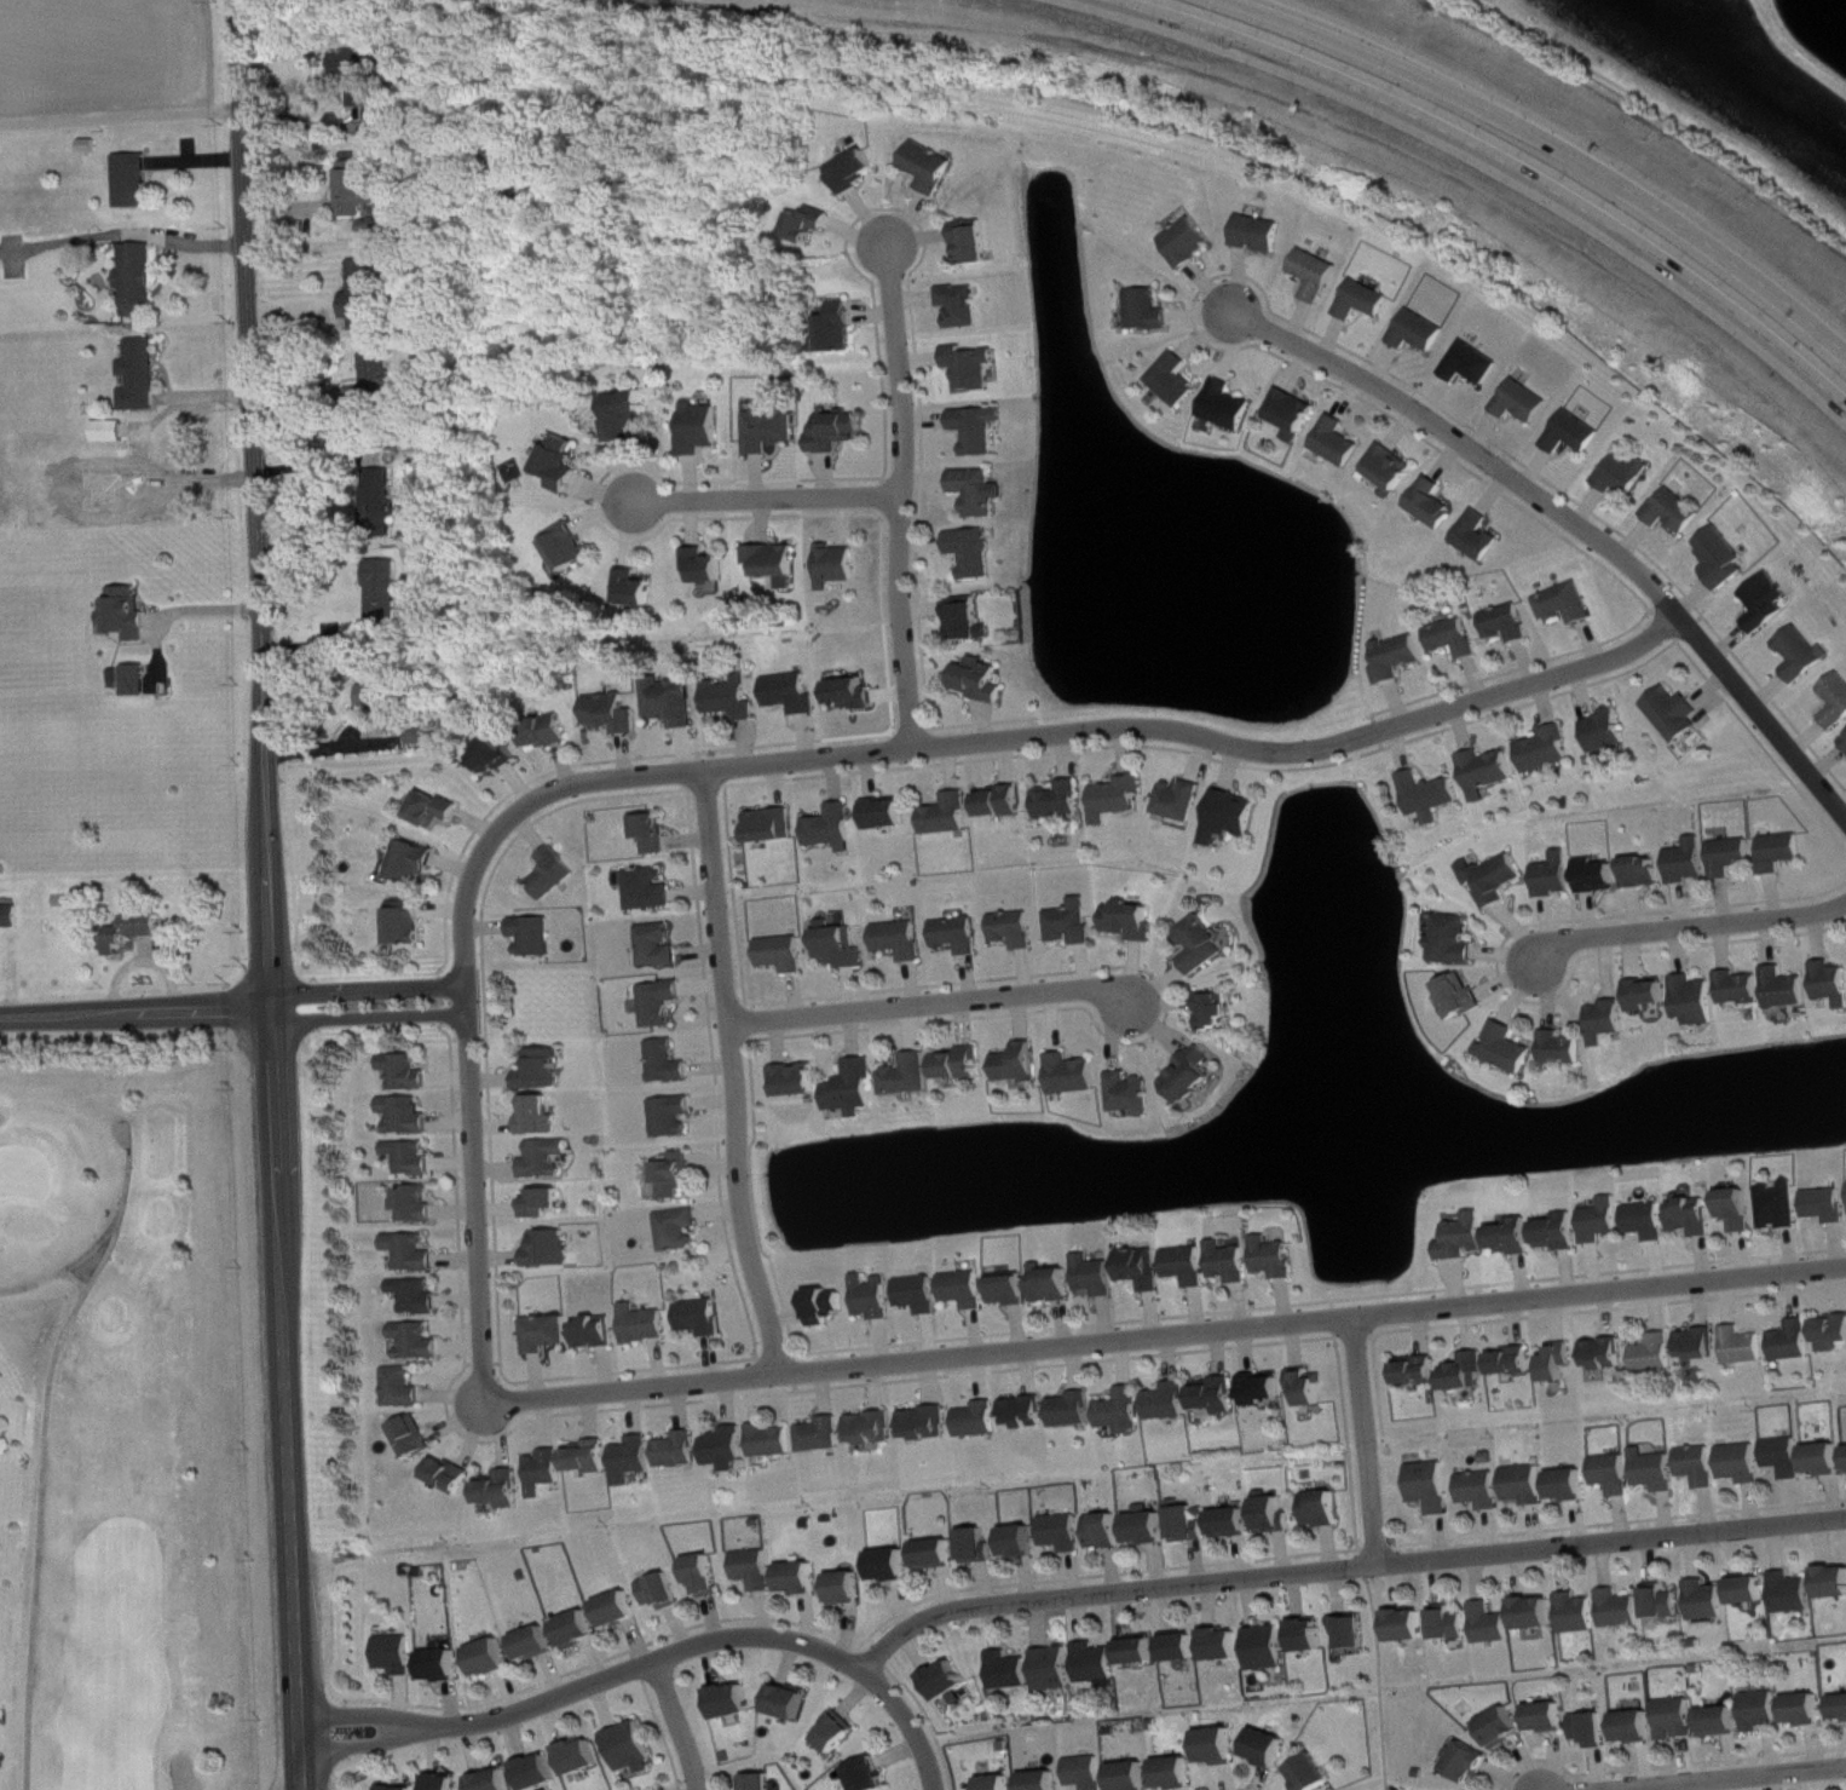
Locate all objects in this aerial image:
crop: (102, 53)
building: (359, 74)
road: (1665, 111)
road: (120, 114)
road: (1562, 146)
road: (1501, 156)
road: (194, 159)
building: (930, 167)
building: (855, 171)
building: (127, 175)
building: (358, 189)
building: (810, 224)
road: (122, 232)
building: (1261, 234)
building: (973, 242)
building: (1190, 242)
road: (154, 261)
building: (1317, 275)
building: (133, 276)
building: (368, 295)
building: (1366, 300)
building: (963, 306)
building: (1149, 311)
building: (840, 328)
building: (1421, 333)
building: (1475, 364)
building: (973, 368)
building: (137, 370)
road: (166, 372)
building: (375, 379)
building: (1176, 379)
road: (201, 393)
building: (1525, 402)
building: (1229, 407)
building: (1296, 414)
building: (628, 415)
building: (123, 427)
building: (703, 428)
building: (772, 430)
building: (980, 430)
building: (837, 432)
building: (1576, 433)
building: (1340, 442)
building: (140, 444)
building: (123, 445)
building: (563, 464)
building: (1392, 470)
building: (1627, 474)
building: (981, 493)
road: (899, 494)
road: (768, 500)
building: (382, 501)
building: (1435, 503)
building: (1677, 511)
road: (1580, 522)
building: (1481, 536)
building: (570, 547)
building: (975, 552)
building: (1725, 558)
building: (777, 563)
building: (838, 565)
building: (708, 566)
building: (636, 588)
building: (385, 594)
building: (1769, 602)
building: (1569, 604)
road: (200, 606)
building: (121, 609)
building: (969, 620)
building: (1511, 623)
building: (1456, 638)
road: (156, 650)
building: (1806, 654)
building: (1400, 658)
building: (110, 674)
building: (131, 675)
building: (982, 680)
building: (795, 693)
building: (854, 693)
building: (383, 697)
building: (733, 698)
building: (673, 702)
building: (1838, 702)
building: (615, 713)
building: (1677, 714)
building: (1609, 731)
building: (548, 732)
building: (422, 733)
building: (1551, 750)
building: (495, 755)
road: (808, 761)
building: (1489, 772)
building: (1431, 796)
building: (1118, 799)
building: (1062, 800)
building: (1181, 800)
building: (1004, 802)
building: (438, 810)
building: (889, 815)
building: (950, 816)
building: (1231, 817)
building: (775, 825)
building: (836, 829)
building: (657, 833)
building: (1783, 852)
building: (1733, 857)
building: (1691, 862)
building: (417, 863)
building: (1646, 871)
building: (558, 874)
building: (1558, 876)
building: (1602, 876)
building: (1499, 880)
building: (653, 890)
road: (269, 894)
building: (7, 913)
building: (1133, 921)
building: (410, 923)
building: (1074, 923)
road: (1686, 925)
building: (129, 927)
building: (1017, 929)
building: (961, 936)
building: (538, 937)
building: (904, 940)
building: (1456, 940)
building: (1204, 945)
building: (662, 946)
building: (843, 949)
building: (786, 954)
road: (143, 956)
building: (1831, 983)
building: (1742, 989)
building: (1788, 989)
building: (1651, 994)
building: (1465, 997)
building: (1698, 1001)
road: (371, 1003)
building: (664, 1003)
road: (935, 1003)
road: (135, 1009)
building: (1217, 1012)
building: (1610, 1021)
building: (1508, 1048)
building: (1564, 1049)
building: (671, 1063)
building: (1021, 1064)
building: (964, 1065)
building: (546, 1070)
building: (410, 1072)
road: (738, 1075)
building: (1075, 1075)
building: (911, 1076)
building: (1194, 1076)
building: (798, 1081)
building: (856, 1089)
building: (1133, 1094)
building: (410, 1116)
building: (543, 1117)
building: (676, 1117)
building: (415, 1158)
building: (550, 1159)
building: (680, 1176)
building: (547, 1203)
building: (420, 1205)
building: (1829, 1205)
building: (1783, 1207)
building: (1741, 1210)
building: (1696, 1216)
building: (1604, 1221)
building: (1650, 1221)
building: (682, 1230)
building: (1562, 1232)
building: (1516, 1237)
building: (1466, 1238)
building: (554, 1250)
building: (415, 1253)
building: (1277, 1257)
building: (1233, 1262)
building: (1190, 1266)
building: (1144, 1268)
building: (1098, 1276)
building: (1054, 1285)
building: (967, 1290)
building: (1011, 1291)
building: (922, 1295)
building: (420, 1297)
building: (876, 1297)
building: (829, 1306)
building: (704, 1318)
building: (647, 1325)
building: (600, 1333)
building: (549, 1334)
building: (1834, 1335)
road: (1167, 1339)
building: (419, 1342)
building: (1798, 1342)
building: (1702, 1345)
building: (1747, 1347)
building: (1608, 1354)
building: (1658, 1354)
building: (1516, 1363)
building: (1563, 1363)
building: (1420, 1372)
building: (1469, 1372)
building: (405, 1388)
building: (1310, 1388)
building: (1264, 1389)
building: (1221, 1397)
building: (1171, 1403)
building: (1074, 1411)
building: (1125, 1411)
building: (1026, 1412)
building: (980, 1420)
building: (928, 1423)
park: (126, 1429)
building: (875, 1429)
building: (2, 1435)
building: (824, 1435)
building: (416, 1438)
building: (774, 1441)
road: (1368, 1441)
building: (729, 1449)
building: (681, 1451)
road: (53, 1457)
building: (592, 1457)
building: (1787, 1457)
building: (635, 1461)
building: (1827, 1461)
building: (1743, 1463)
building: (1701, 1466)
building: (1657, 1470)
building: (548, 1472)
building: (1616, 1474)
building: (452, 1477)
building: (1527, 1485)
building: (1433, 1486)
building: (1573, 1486)
building: (506, 1490)
building: (1483, 1490)
building: (1325, 1509)
building: (1275, 1514)
building: (1189, 1524)
building: (1234, 1524)
building: (1149, 1527)
building: (1107, 1531)
building: (1063, 1533)
building: (1021, 1542)
building: (977, 1547)
building: (936, 1555)
building: (892, 1566)
road: (1343, 1566)
building: (756, 1570)
building: (706, 1576)
building: (801, 1579)
building: (1834, 1583)
building: (848, 1589)
building: (664, 1592)
building: (1752, 1592)
building: (1794, 1594)
building: (1709, 1601)
building: (1666, 1604)
building: (621, 1610)
building: (1622, 1610)
building: (1539, 1615)
building: (1581, 1615)
building: (1454, 1624)
building: (1494, 1624)
building: (1412, 1627)
building: (581, 1630)
building: (1356, 1633)
building: (1311, 1636)
building: (537, 1645)
building: (1227, 1646)
building: (1183, 1648)
building: (1270, 1648)
building: (1141, 1652)
building: (398, 1654)
building: (494, 1658)
building: (1098, 1664)
building: (445, 1667)
building: (1056, 1669)
building: (1011, 1671)
building: (950, 1681)
road: (588, 1686)
building: (734, 1702)
building: (791, 1703)
building: (1841, 1708)
building: (1763, 1711)
building: (1807, 1711)
building: (1551, 1717)
building: (1678, 1720)
building: (1723, 1722)
road: (679, 1725)
road: (910, 1725)
building: (1506, 1728)
building: (1638, 1728)
building: (1593, 1729)
building: (838, 1733)
building: (1221, 1748)
building: (633, 1749)
building: (1270, 1749)
building: (583, 1757)
building: (541, 1773)
building: (1088, 1773)
building: (1177, 1774)
building: (1315, 1774)
building: (871, 1775)
building: (1132, 1777)
road: (1721, 1778)
building: (1043, 1780)
building: (496, 1782)
building: (762, 1782)
building: (446, 1783)
building: (999, 1783)

